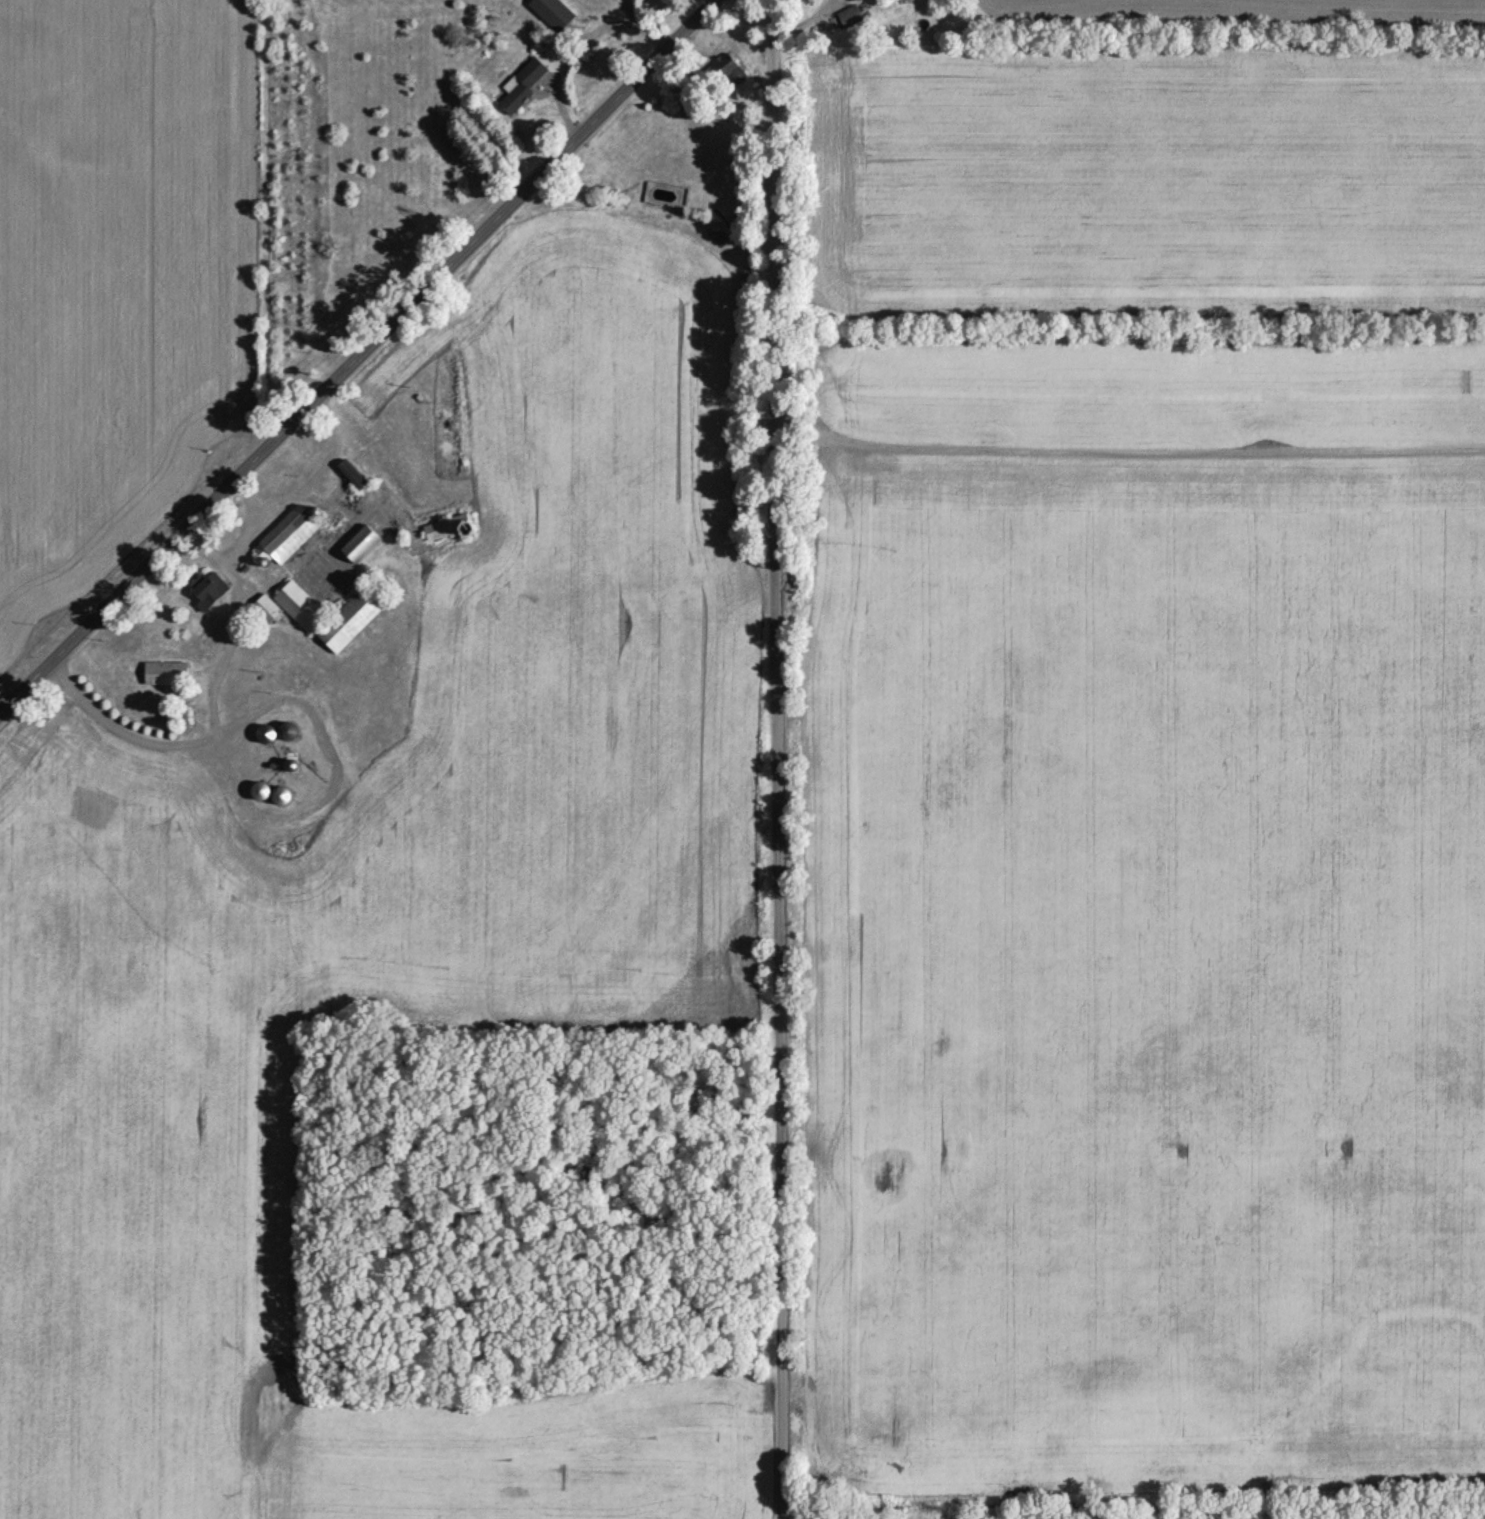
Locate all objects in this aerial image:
building: (552, 15)
building: (850, 20)
building: (729, 74)
building: (522, 87)
road: (357, 354)
building: (352, 477)
building: (443, 530)
building: (287, 537)
building: (361, 545)
building: (209, 591)
building: (300, 608)
building: (267, 609)
building: (351, 621)
building: (165, 675)
building: (187, 716)
building: (289, 734)
building: (265, 736)
road: (773, 759)
building: (260, 793)
building: (281, 799)

